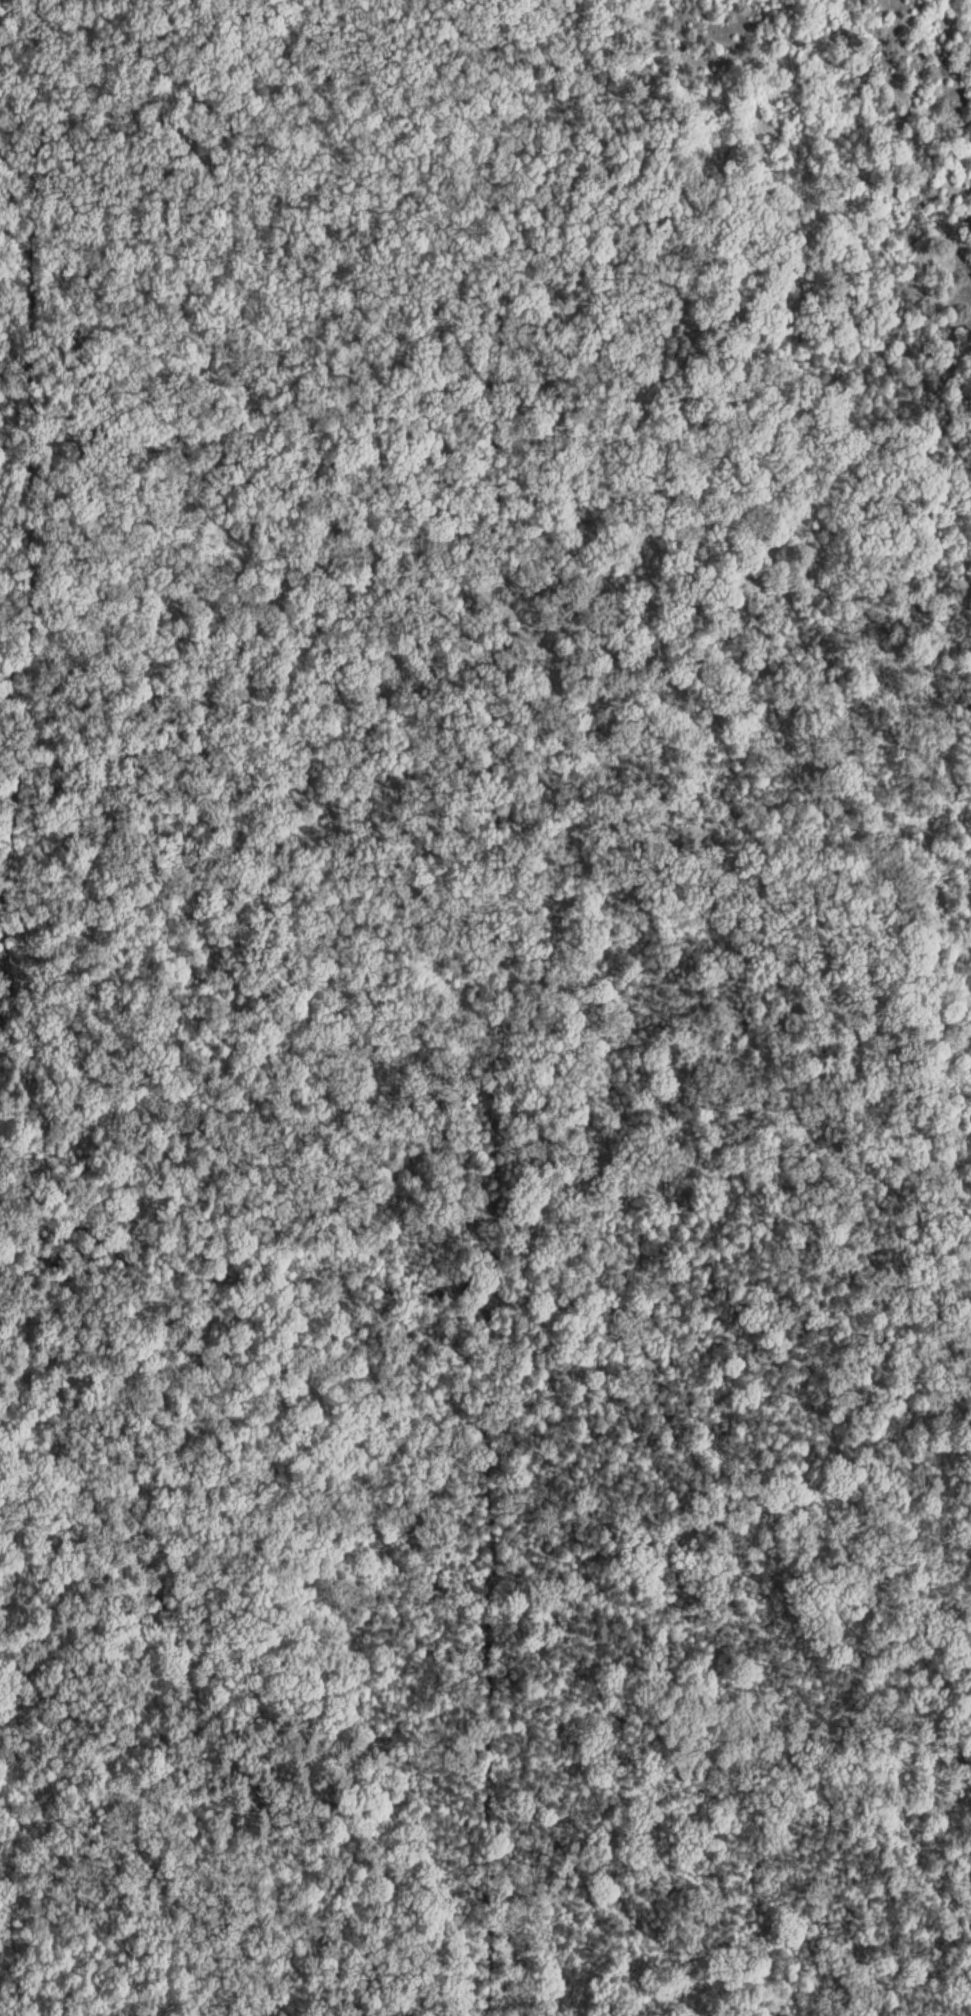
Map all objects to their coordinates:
road: (14, 32)
road: (33, 1008)
road: (483, 1008)
road: (485, 1268)
road: (481, 1949)

